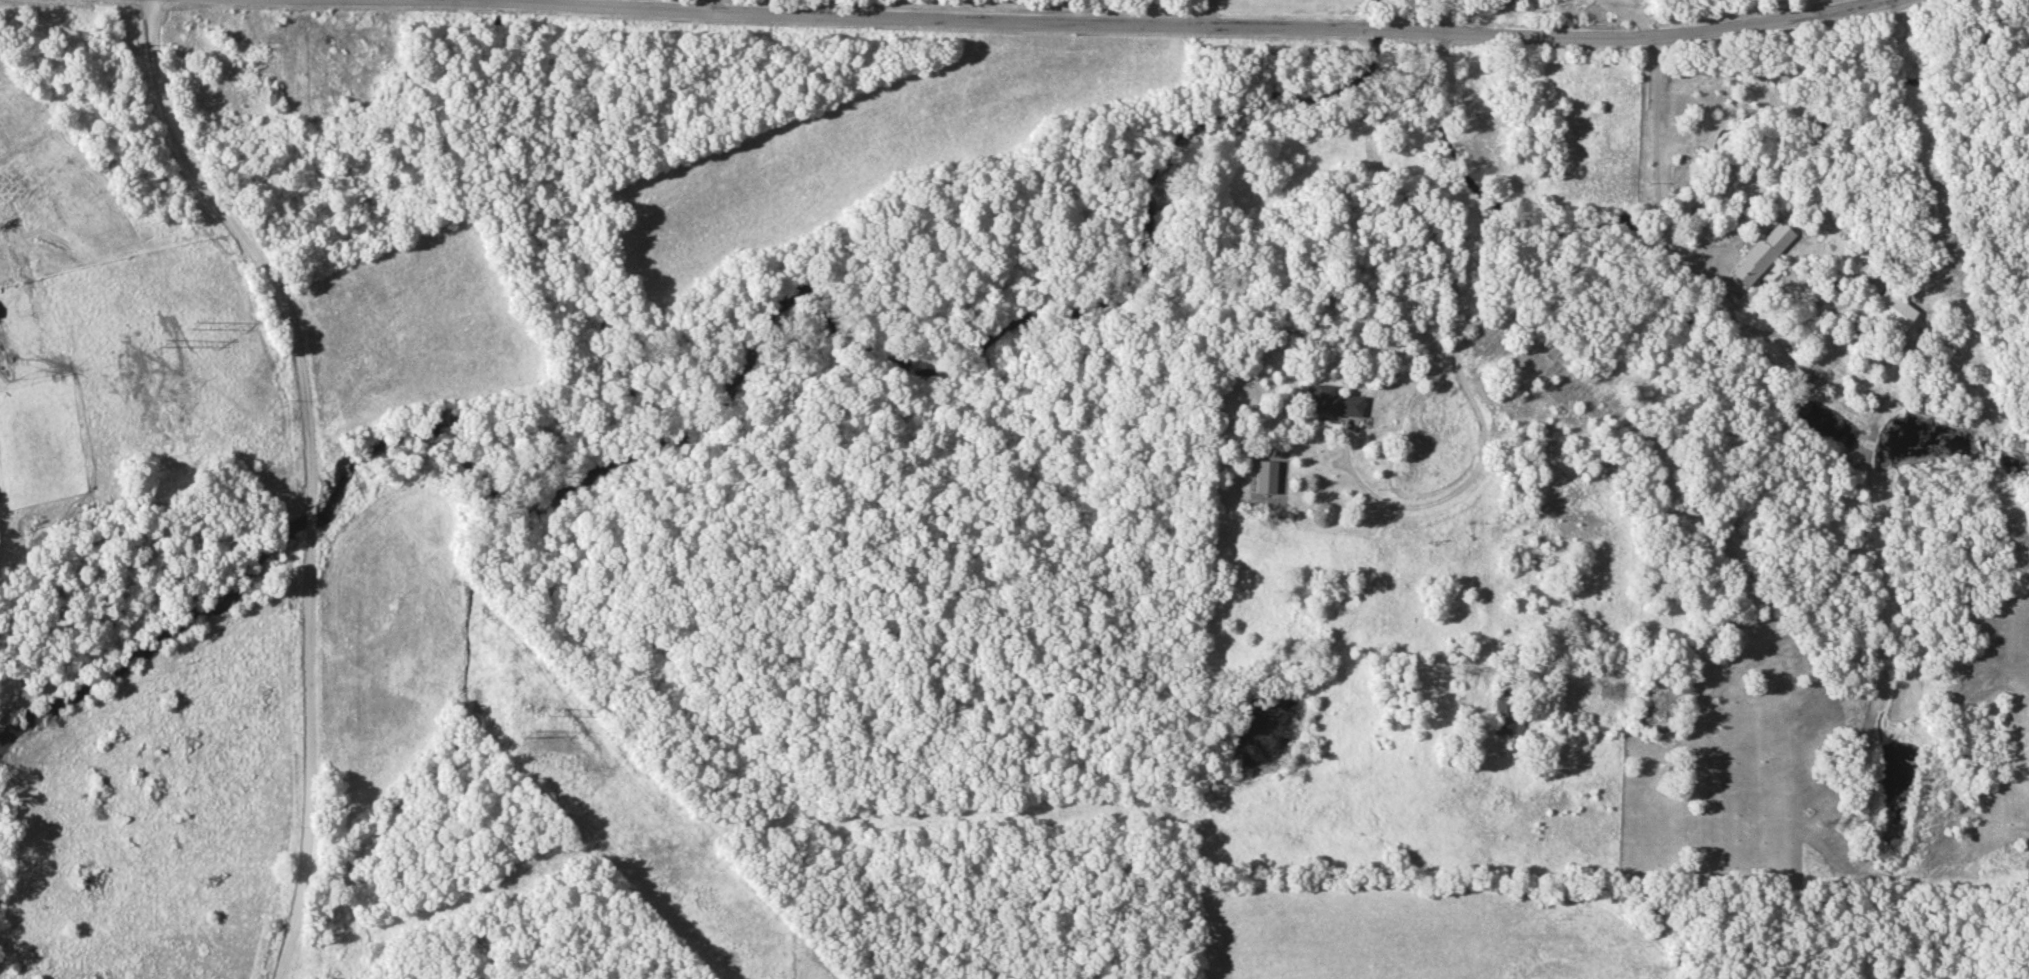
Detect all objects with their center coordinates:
road: (709, 7)
road: (1205, 12)
road: (1637, 12)
road: (1111, 23)
building: (271, 96)
road: (1654, 164)
building: (1759, 252)
building: (1889, 313)
road: (1456, 314)
power tower: (189, 325)
power tower: (161, 342)
building: (1333, 401)
road: (303, 471)
building: (1264, 476)
building: (1502, 707)
power tower: (548, 710)
power tower: (525, 735)

